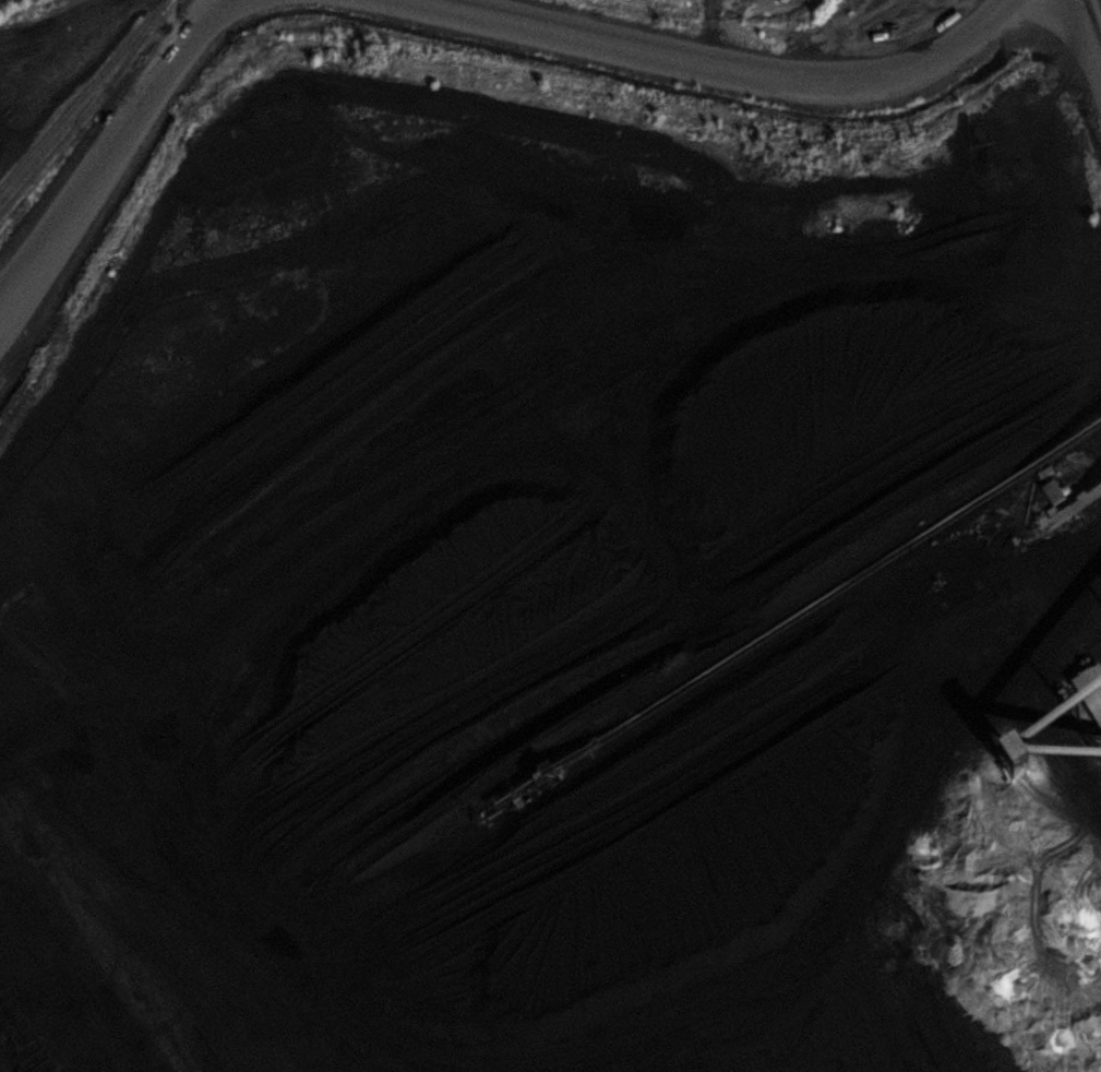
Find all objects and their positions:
railway: (86, 111)
landfill: (524, 609)

